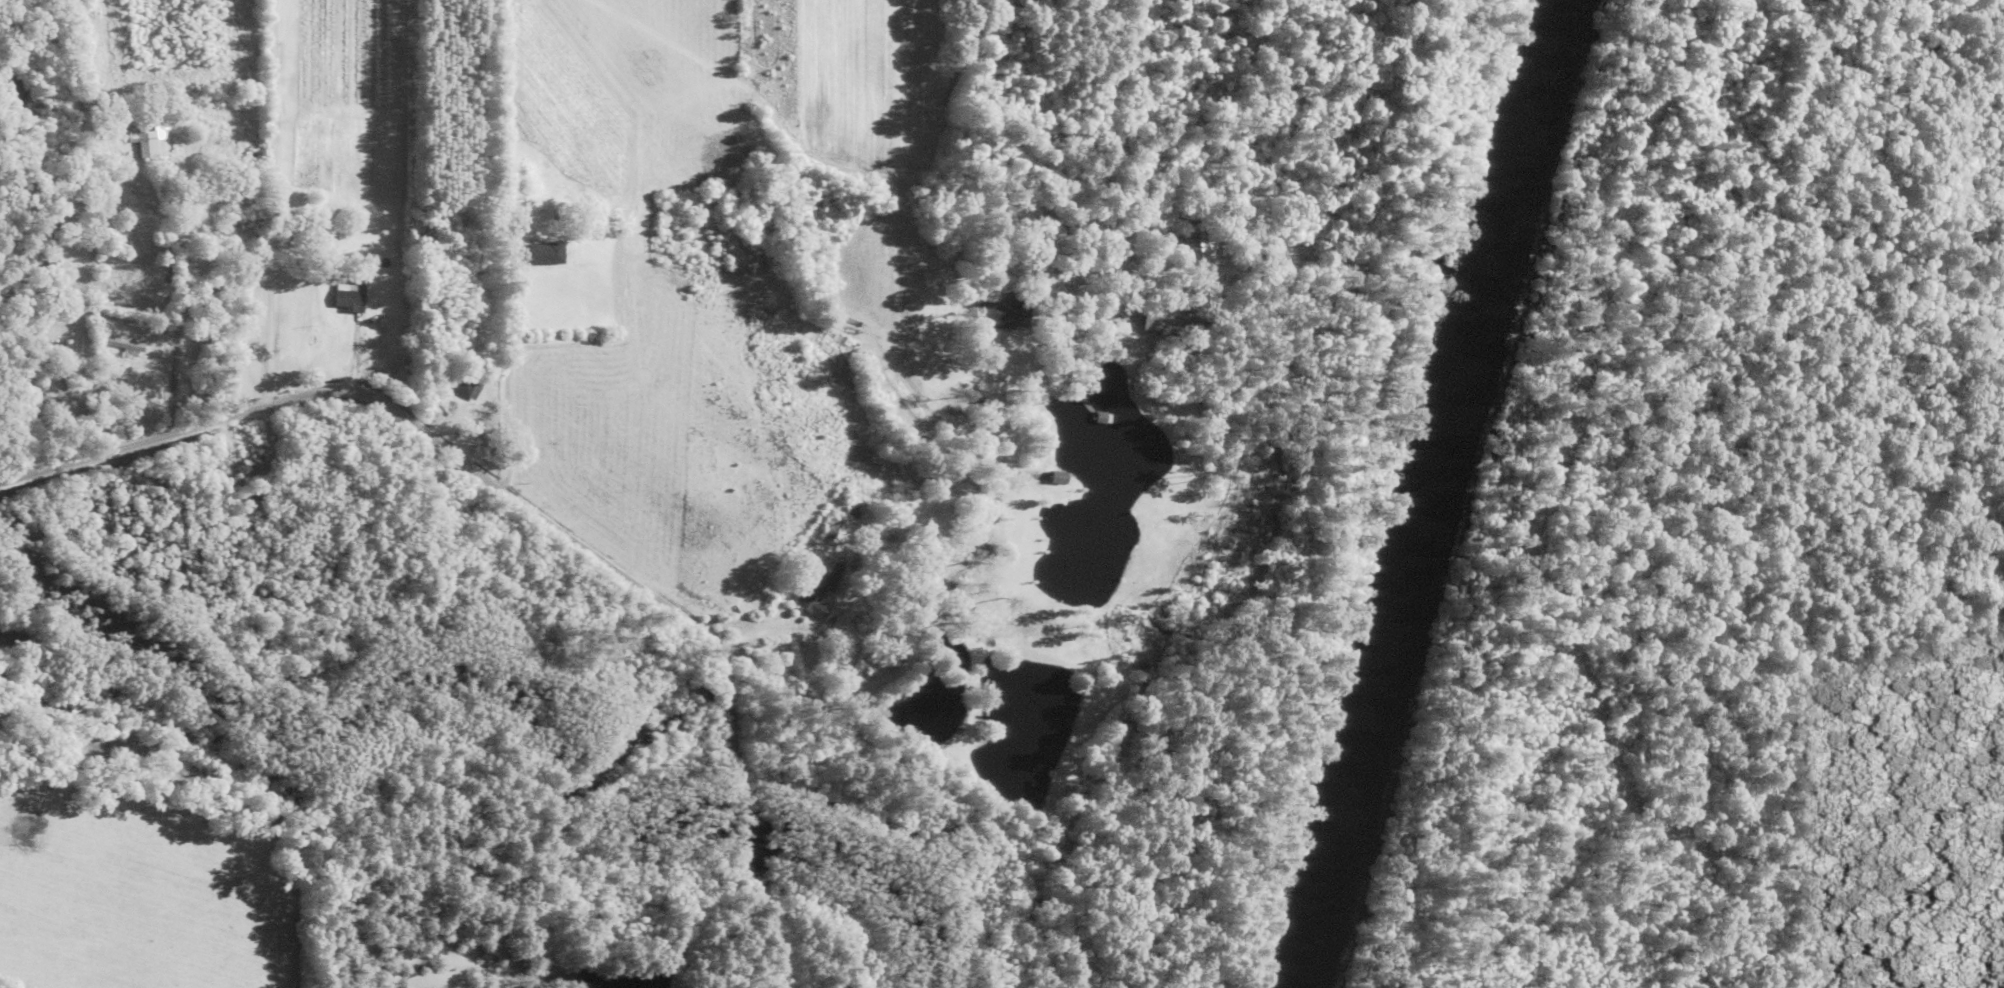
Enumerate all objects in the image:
road: (435, 443)
road: (1075, 987)

